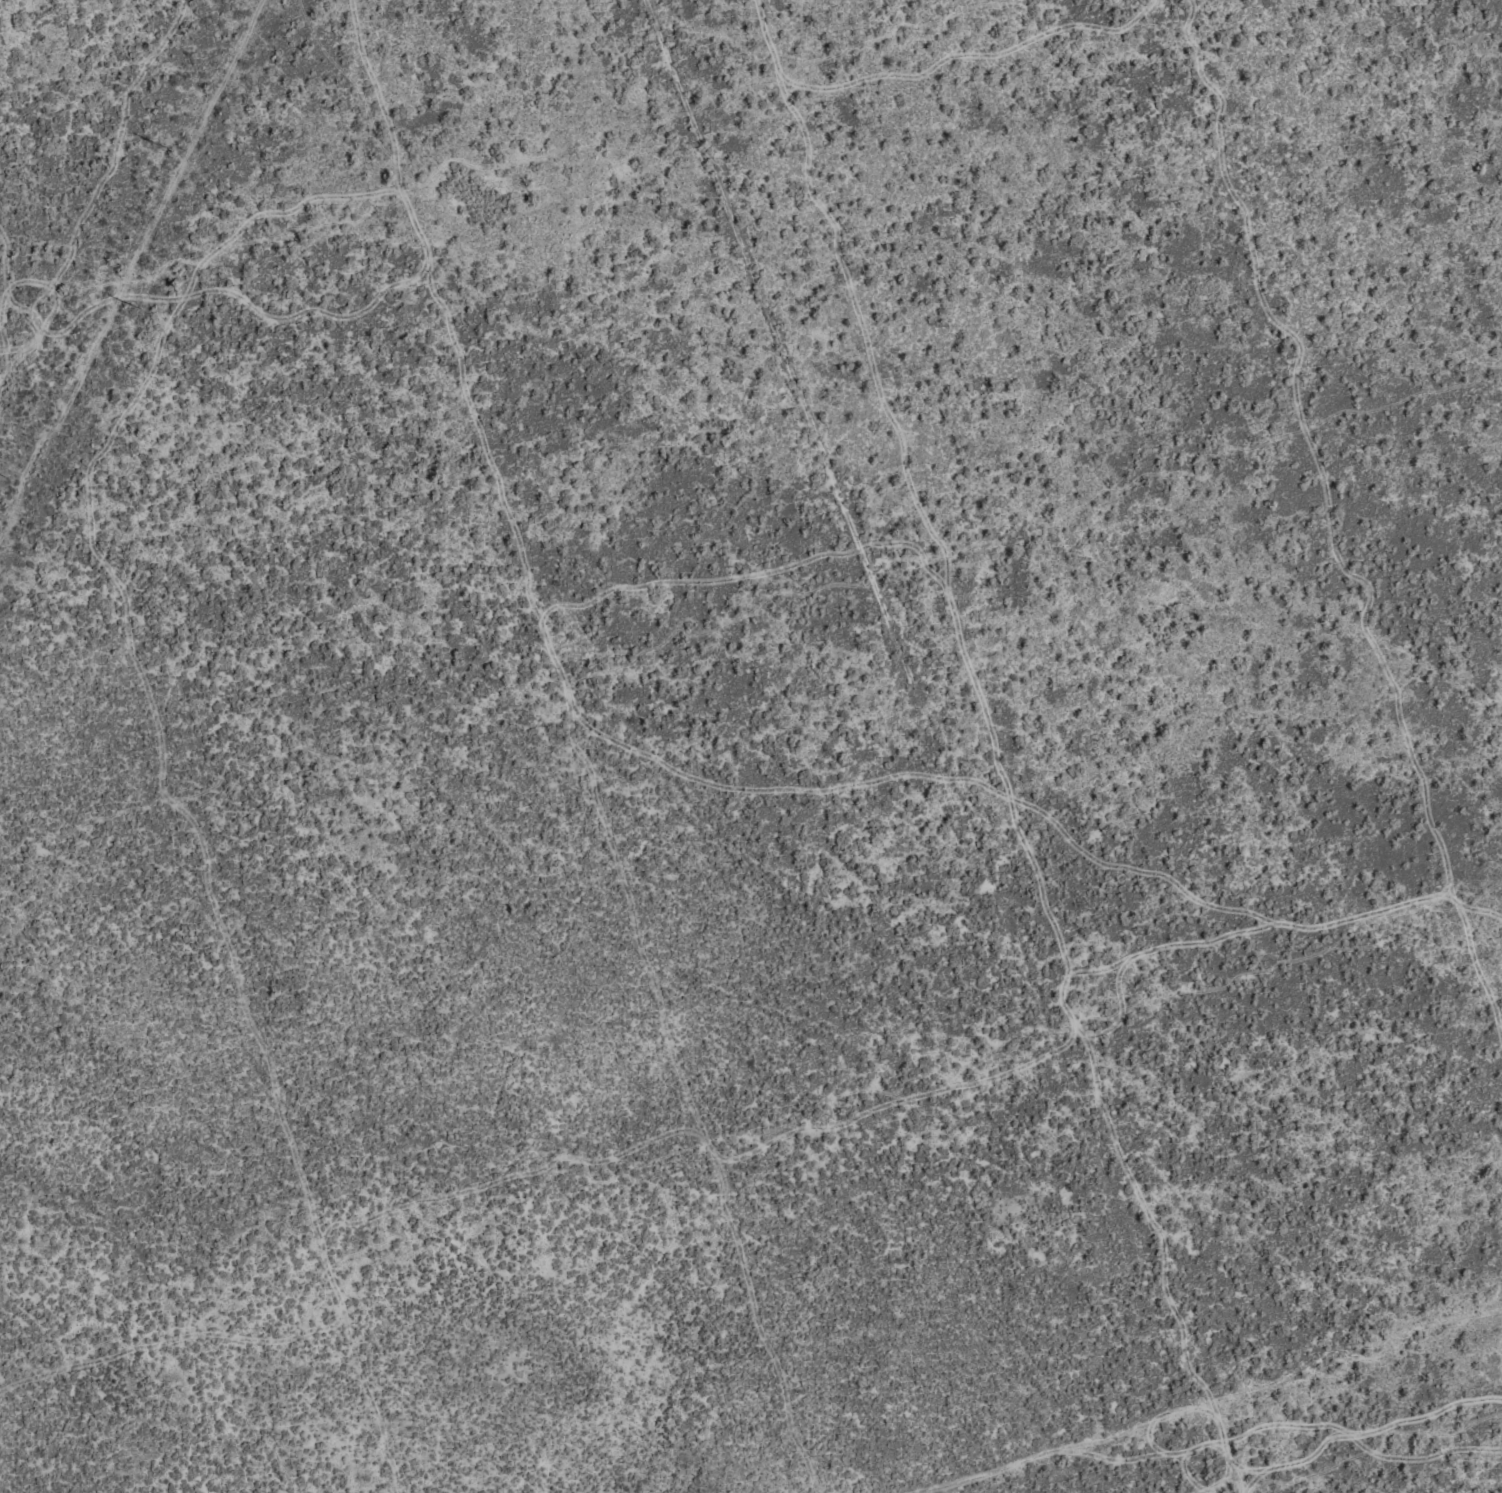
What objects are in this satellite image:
power tower: (164, 146)
power tower: (135, 308)
power tower: (3, 478)
road: (876, 549)

